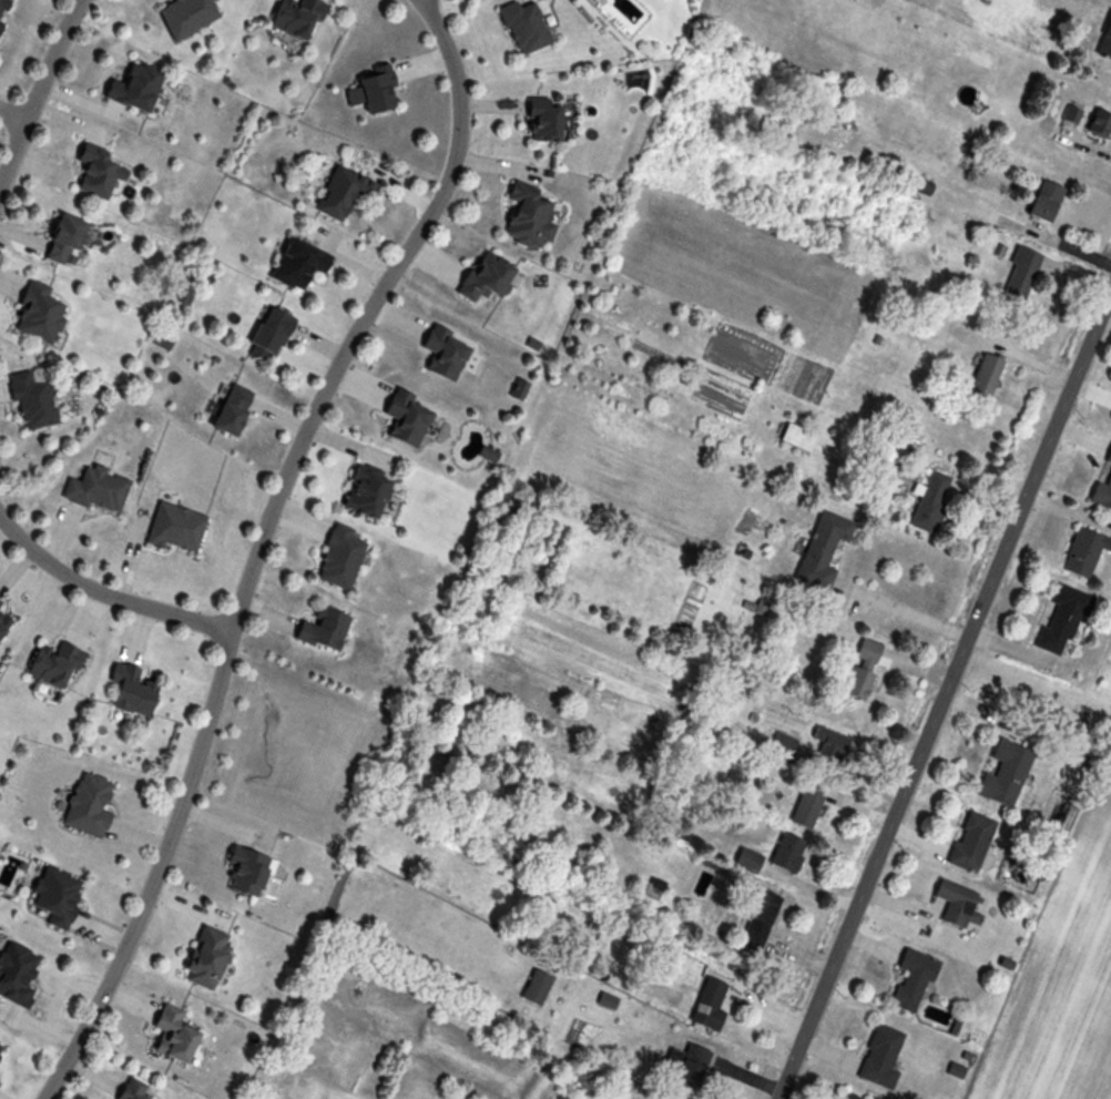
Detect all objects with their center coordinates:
building: (2, 10)
building: (188, 16)
building: (298, 18)
building: (526, 27)
building: (1105, 44)
building: (137, 88)
building: (379, 91)
road: (39, 92)
building: (1072, 114)
road: (13, 115)
building: (546, 120)
building: (1101, 123)
building: (101, 173)
building: (925, 185)
building: (344, 193)
building: (1047, 201)
building: (531, 218)
building: (68, 241)
building: (303, 262)
building: (1021, 273)
building: (488, 277)
building: (184, 294)
building: (42, 314)
building: (272, 336)
building: (447, 353)
building: (986, 376)
building: (34, 401)
building: (234, 411)
building: (409, 417)
building: (798, 437)
building: (1109, 458)
building: (100, 489)
building: (367, 492)
building: (1102, 495)
building: (931, 501)
building: (177, 528)
road: (261, 541)
building: (824, 551)
building: (1085, 552)
building: (343, 557)
road: (105, 594)
building: (0, 602)
road: (905, 613)
building: (1063, 621)
building: (4, 624)
building: (325, 628)
building: (55, 664)
building: (863, 670)
building: (134, 690)
road: (946, 693)
building: (830, 744)
building: (782, 747)
building: (1007, 774)
building: (90, 806)
building: (808, 806)
building: (972, 842)
building: (788, 853)
building: (747, 858)
building: (249, 872)
building: (58, 896)
building: (962, 905)
building: (761, 920)
building: (210, 954)
building: (17, 974)
building: (914, 980)
building: (538, 987)
building: (710, 1005)
building: (176, 1035)
building: (1, 1050)
building: (883, 1057)
building: (691, 1067)
building: (139, 1091)
building: (847, 1097)

